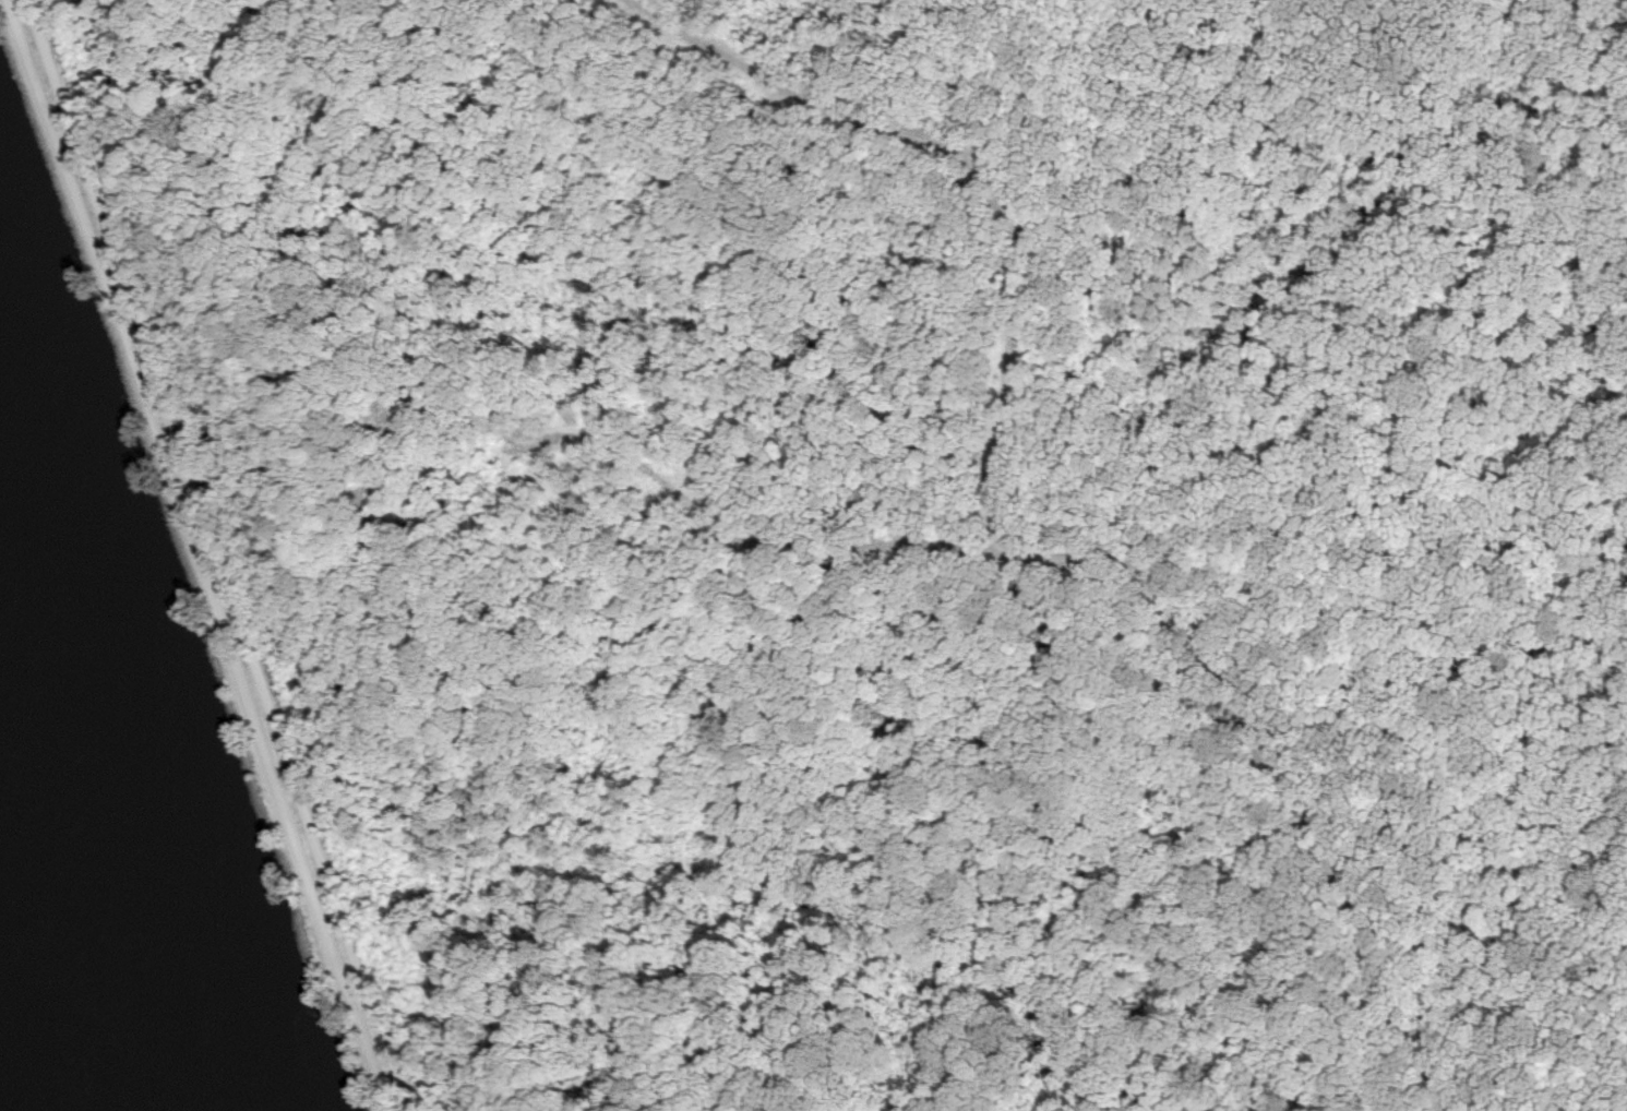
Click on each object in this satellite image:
road: (218, 554)
road: (194, 560)
river: (5, 1090)

